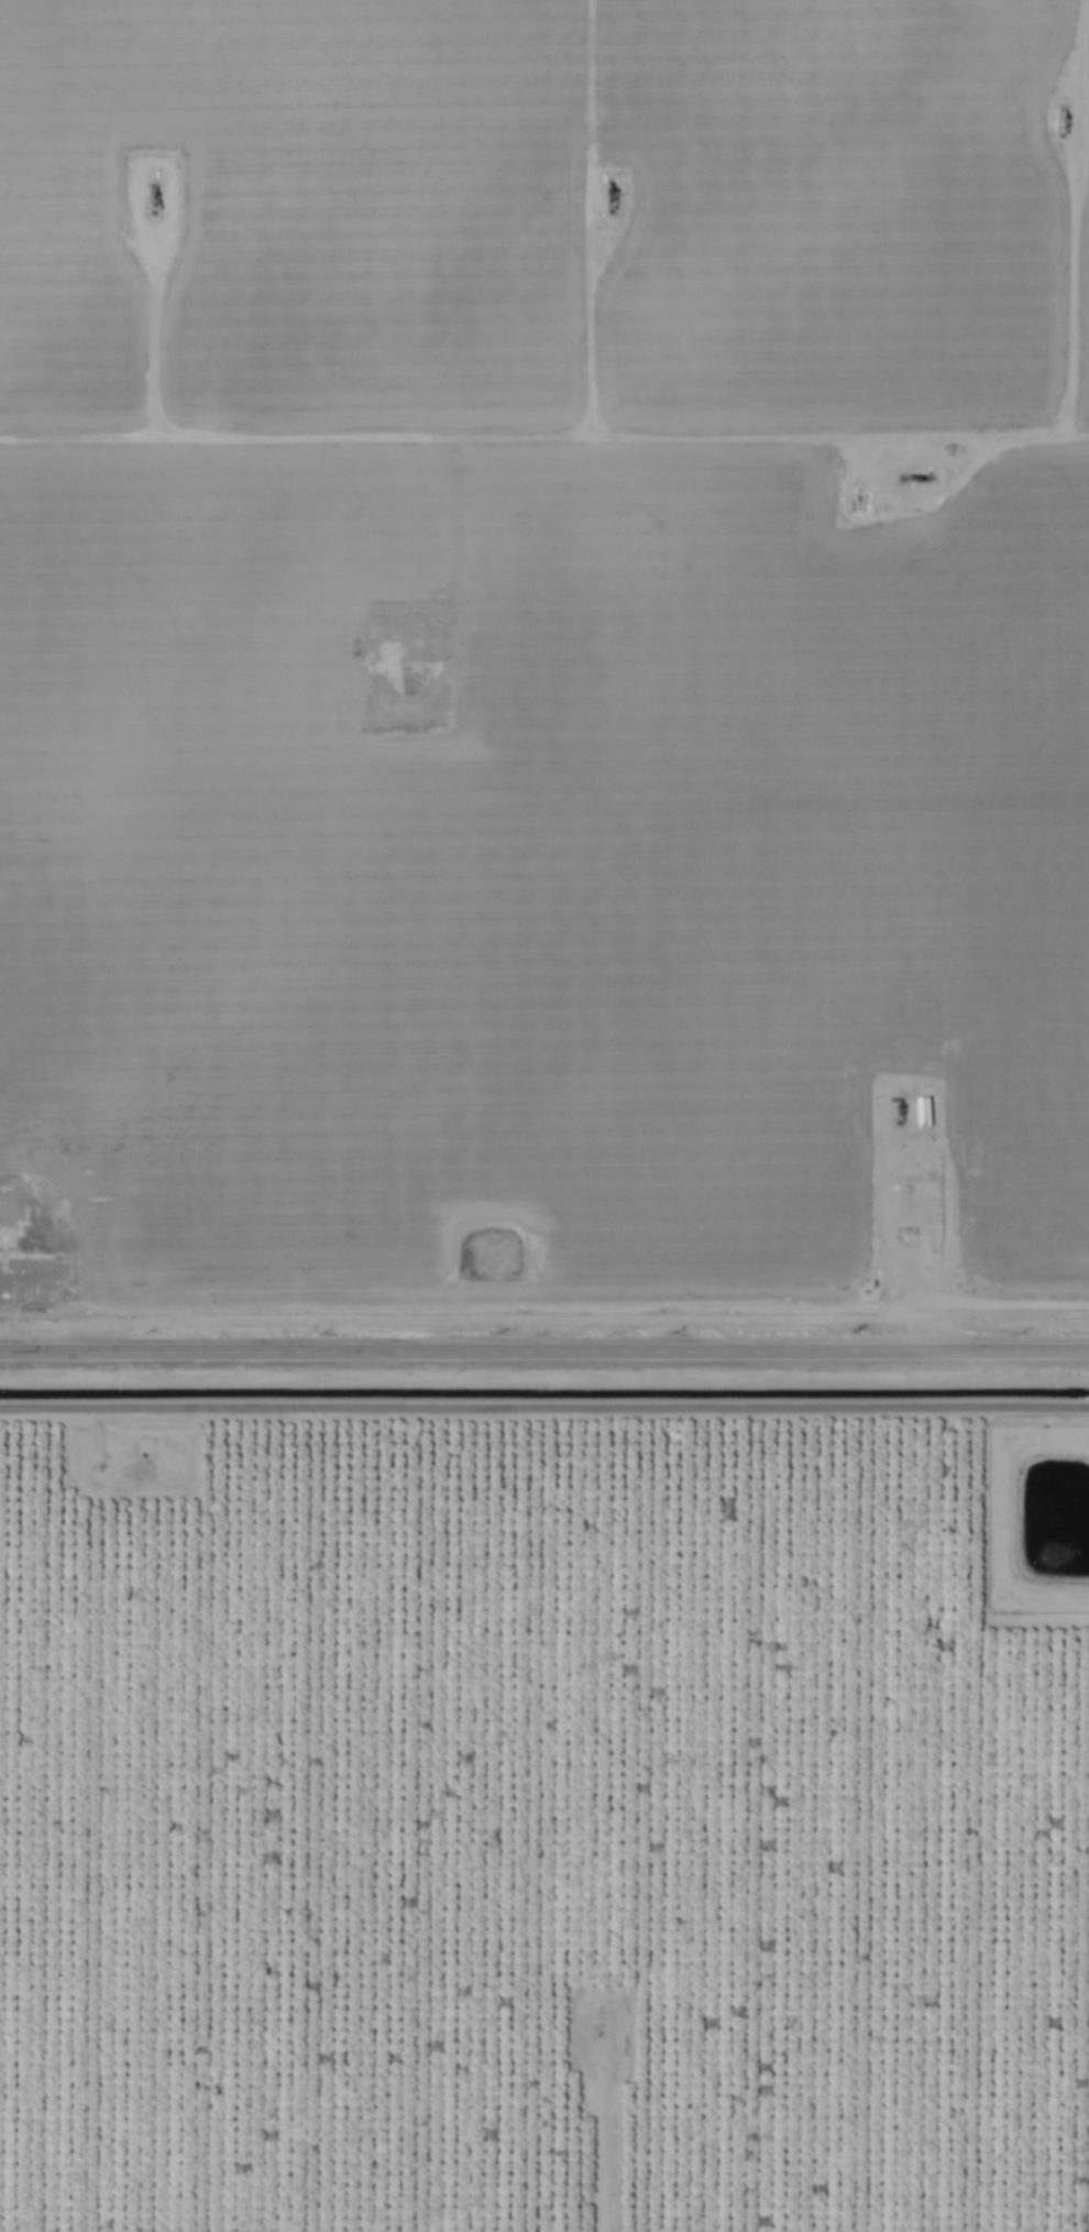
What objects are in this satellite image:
petroleum well: (609, 190)
petroleum well: (150, 192)
petroleum well: (910, 475)
road: (544, 1352)

